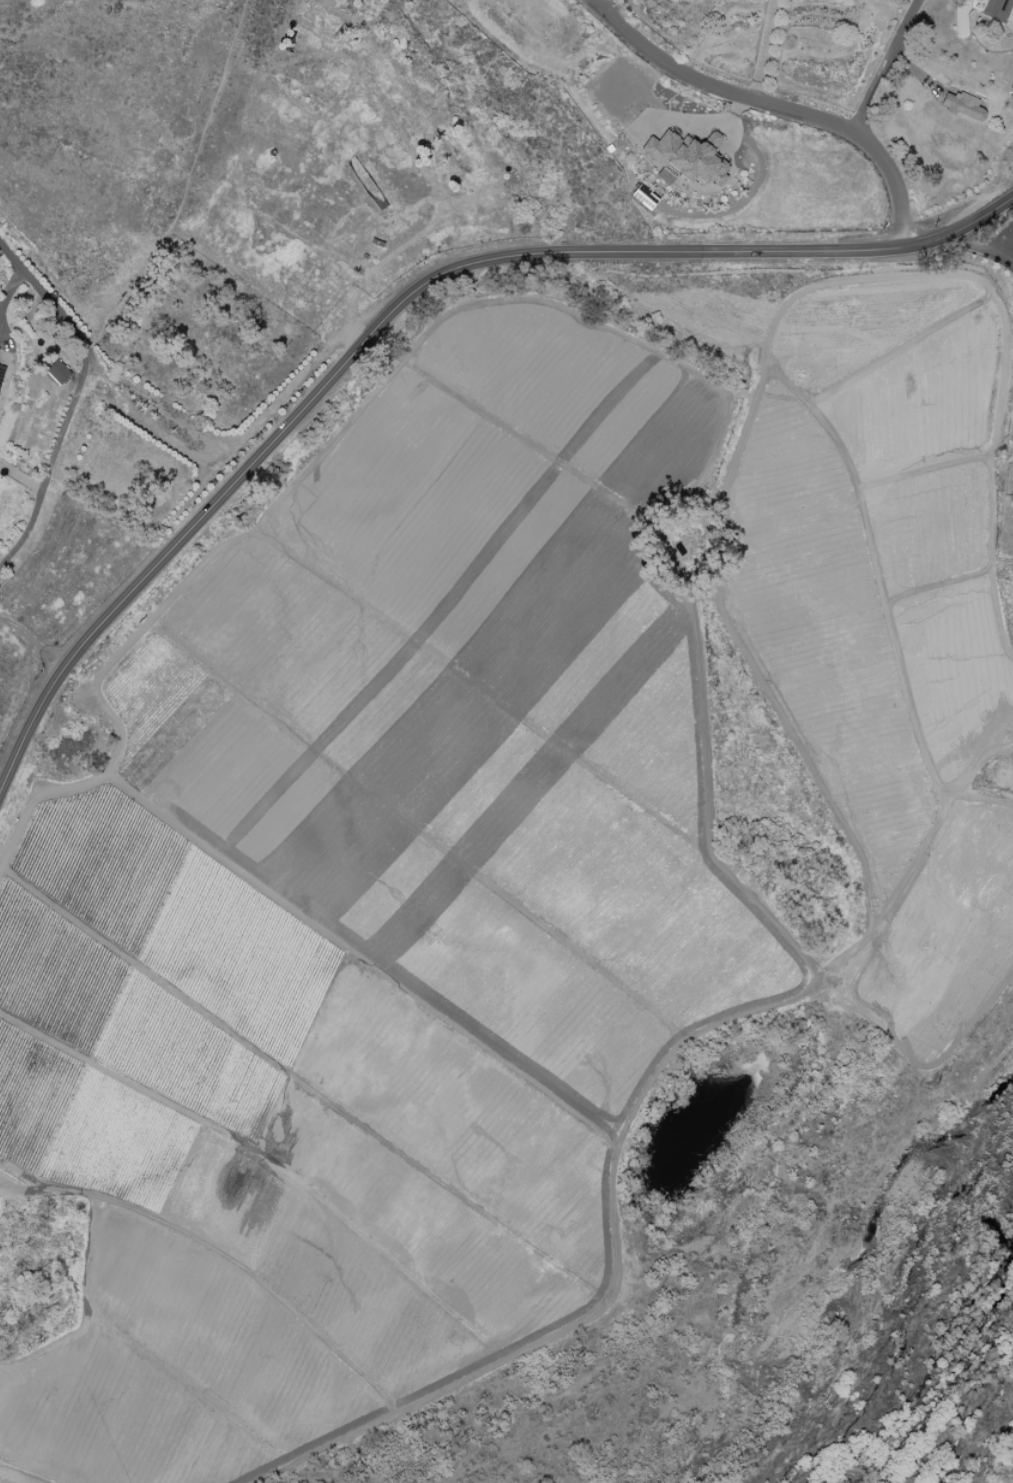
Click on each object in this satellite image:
building: (999, 10)
road: (763, 48)
road: (883, 63)
road: (779, 103)
building: (962, 106)
building: (686, 158)
road: (1001, 183)
road: (982, 248)
road: (662, 252)
road: (10, 289)
road: (4, 340)
building: (1, 372)
building: (58, 372)
road: (75, 400)
road: (153, 566)
road: (10, 625)
road: (40, 650)
park: (751, 1294)
river: (925, 1377)

